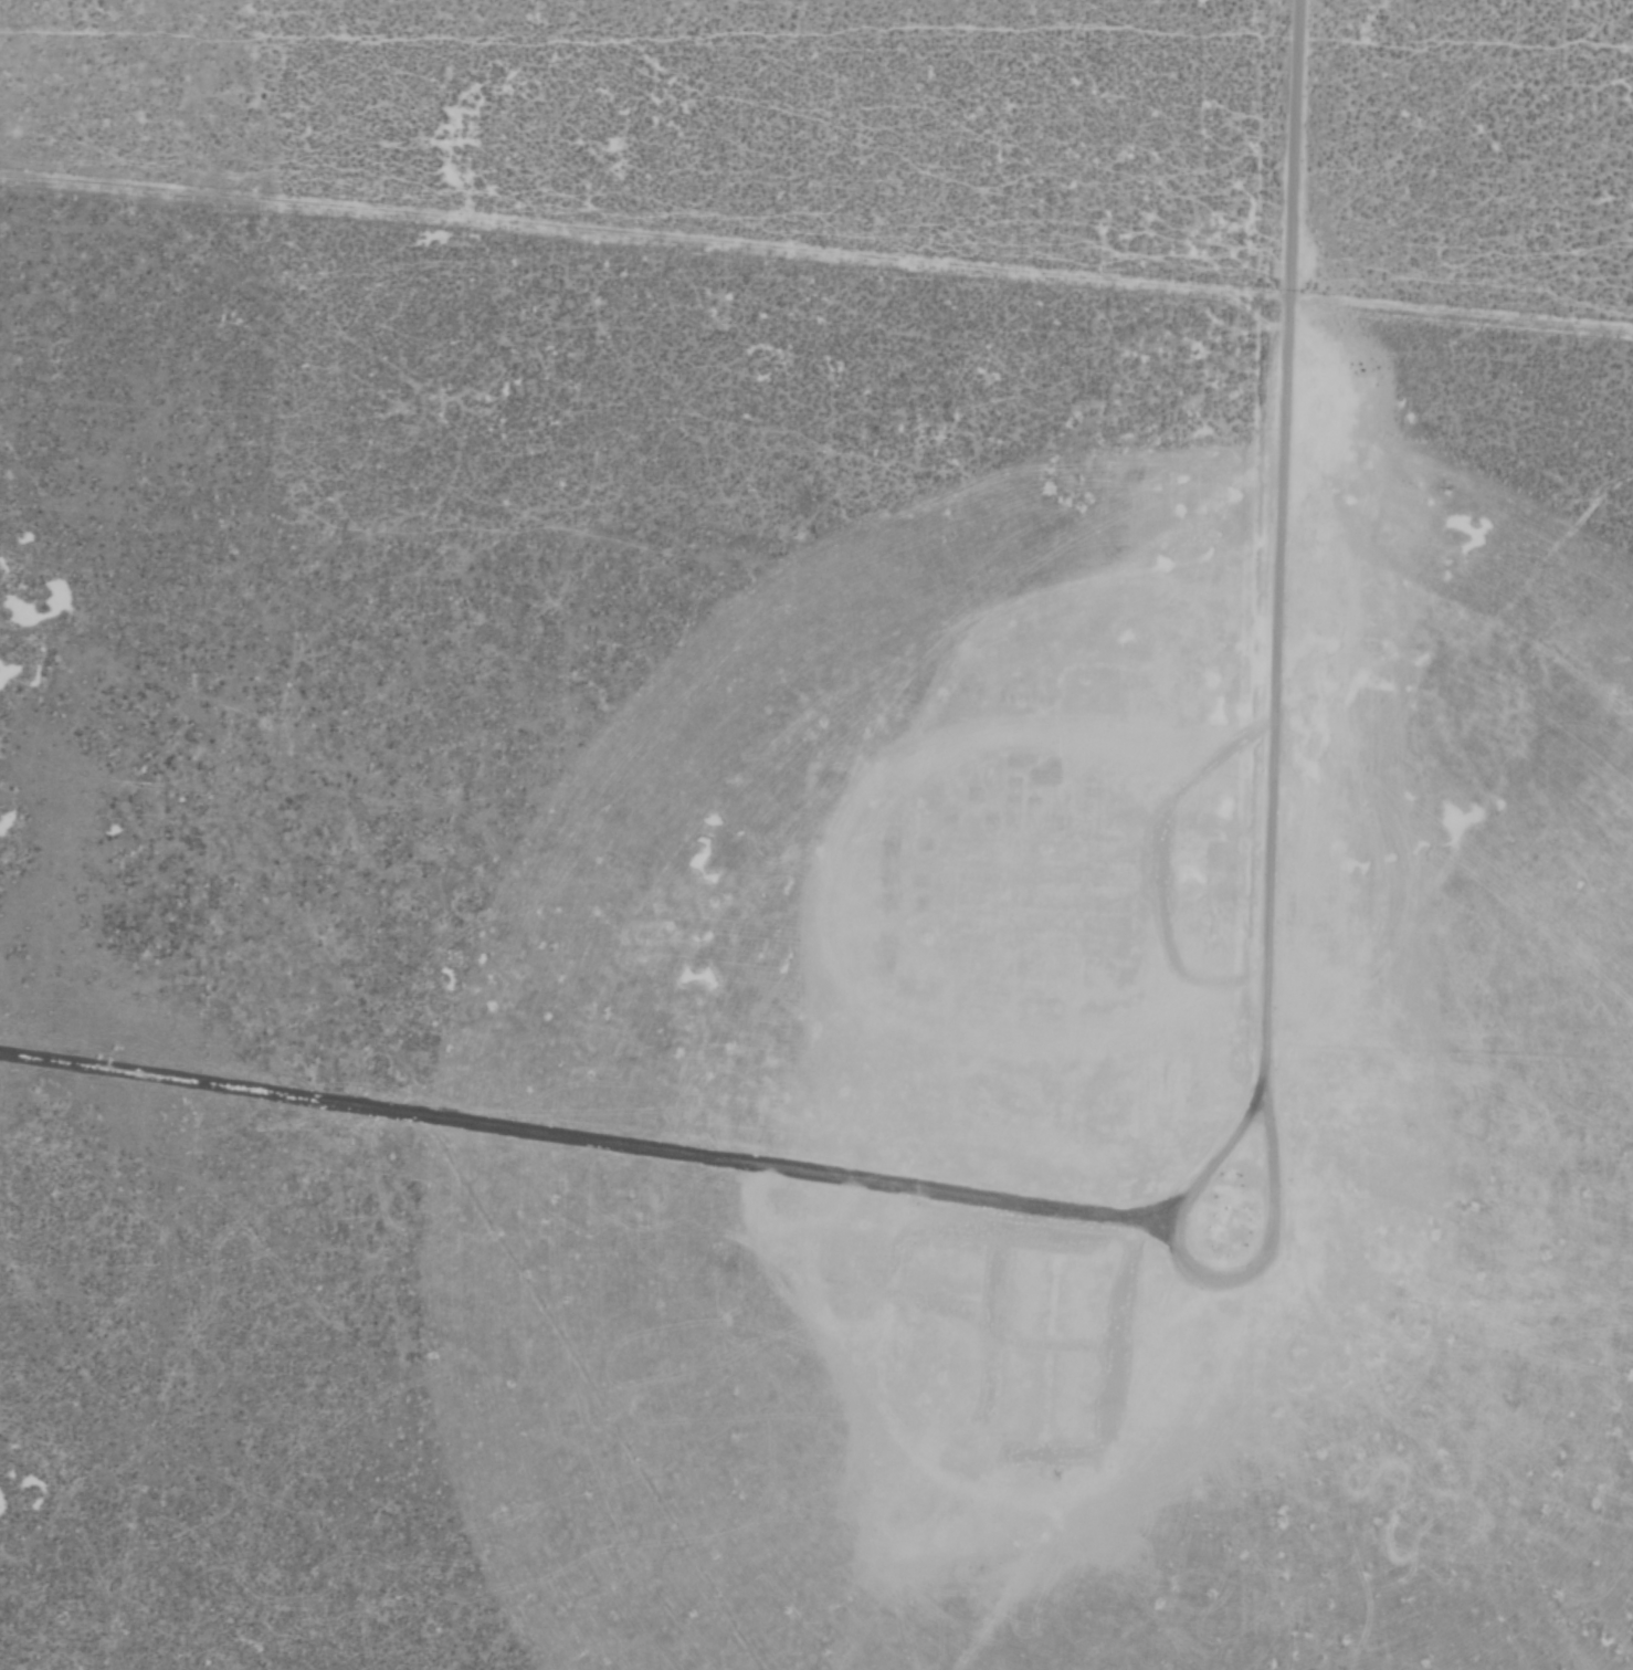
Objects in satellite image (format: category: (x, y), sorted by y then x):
airport: (892, 140)

